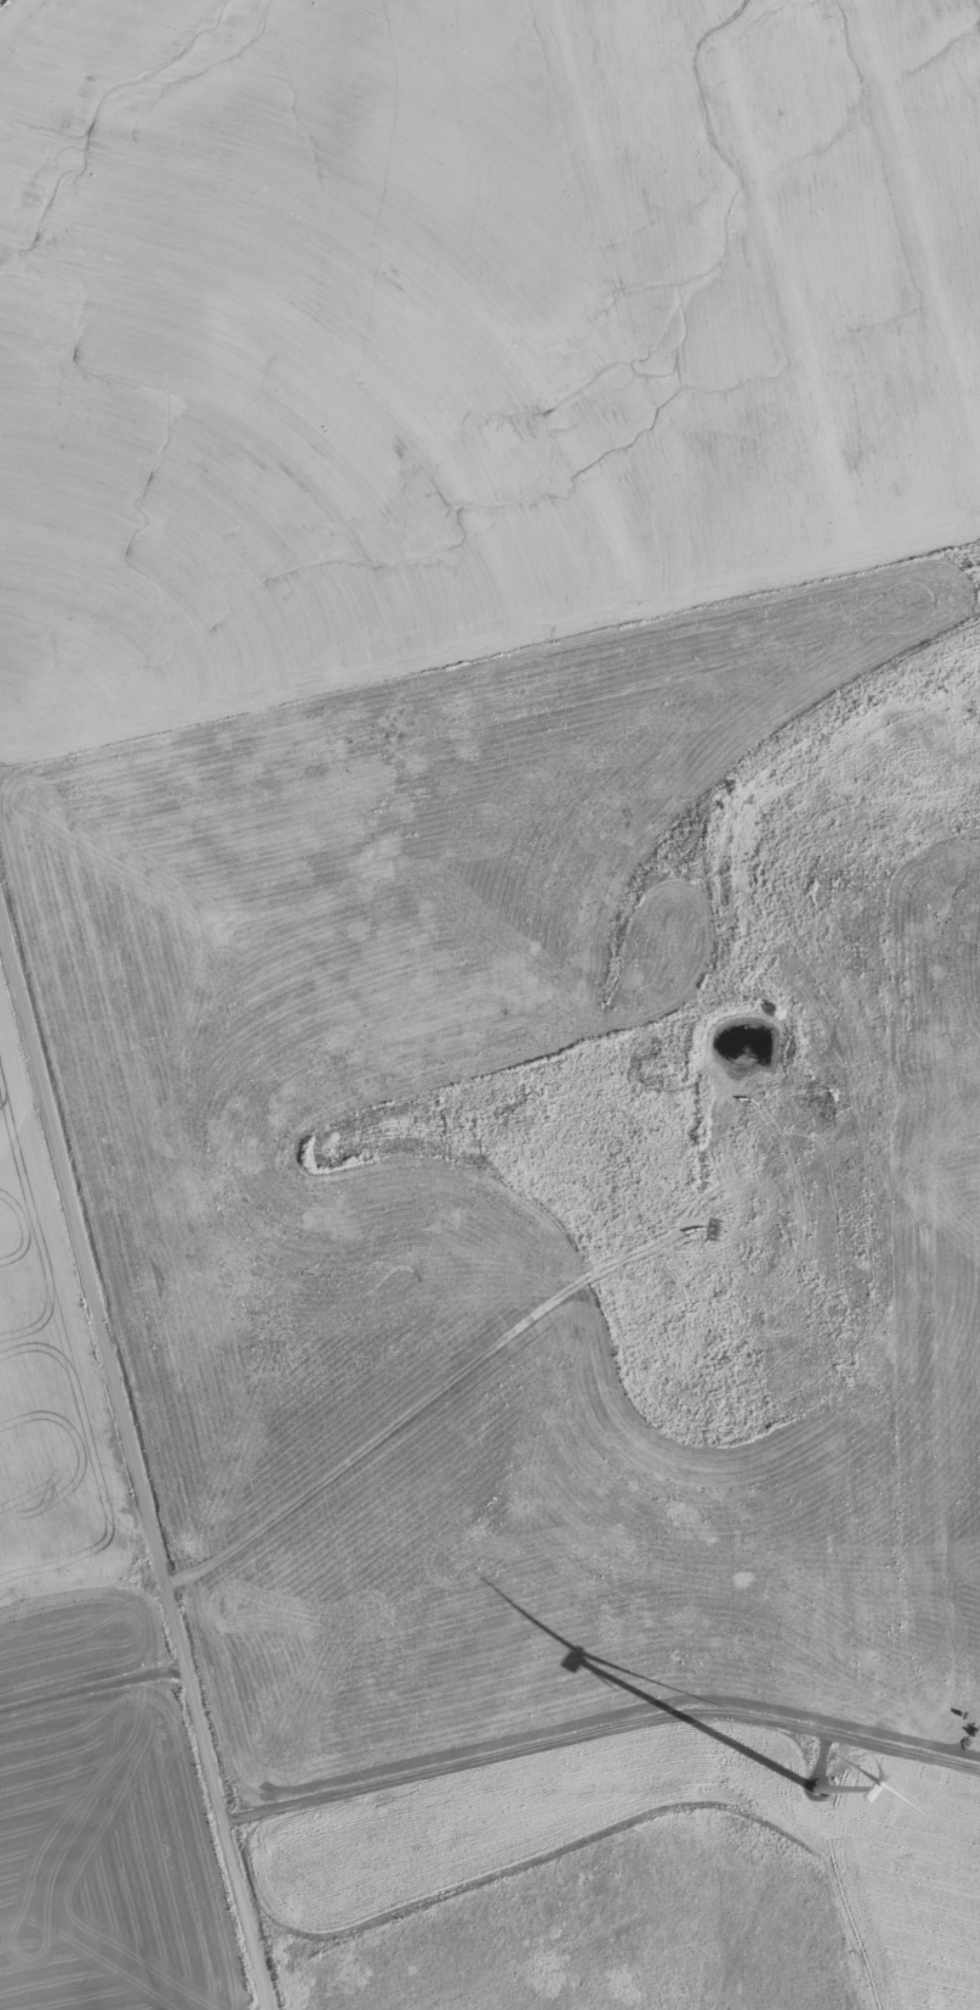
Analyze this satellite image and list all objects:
road: (134, 1464)
wind turbine: (815, 1793)

